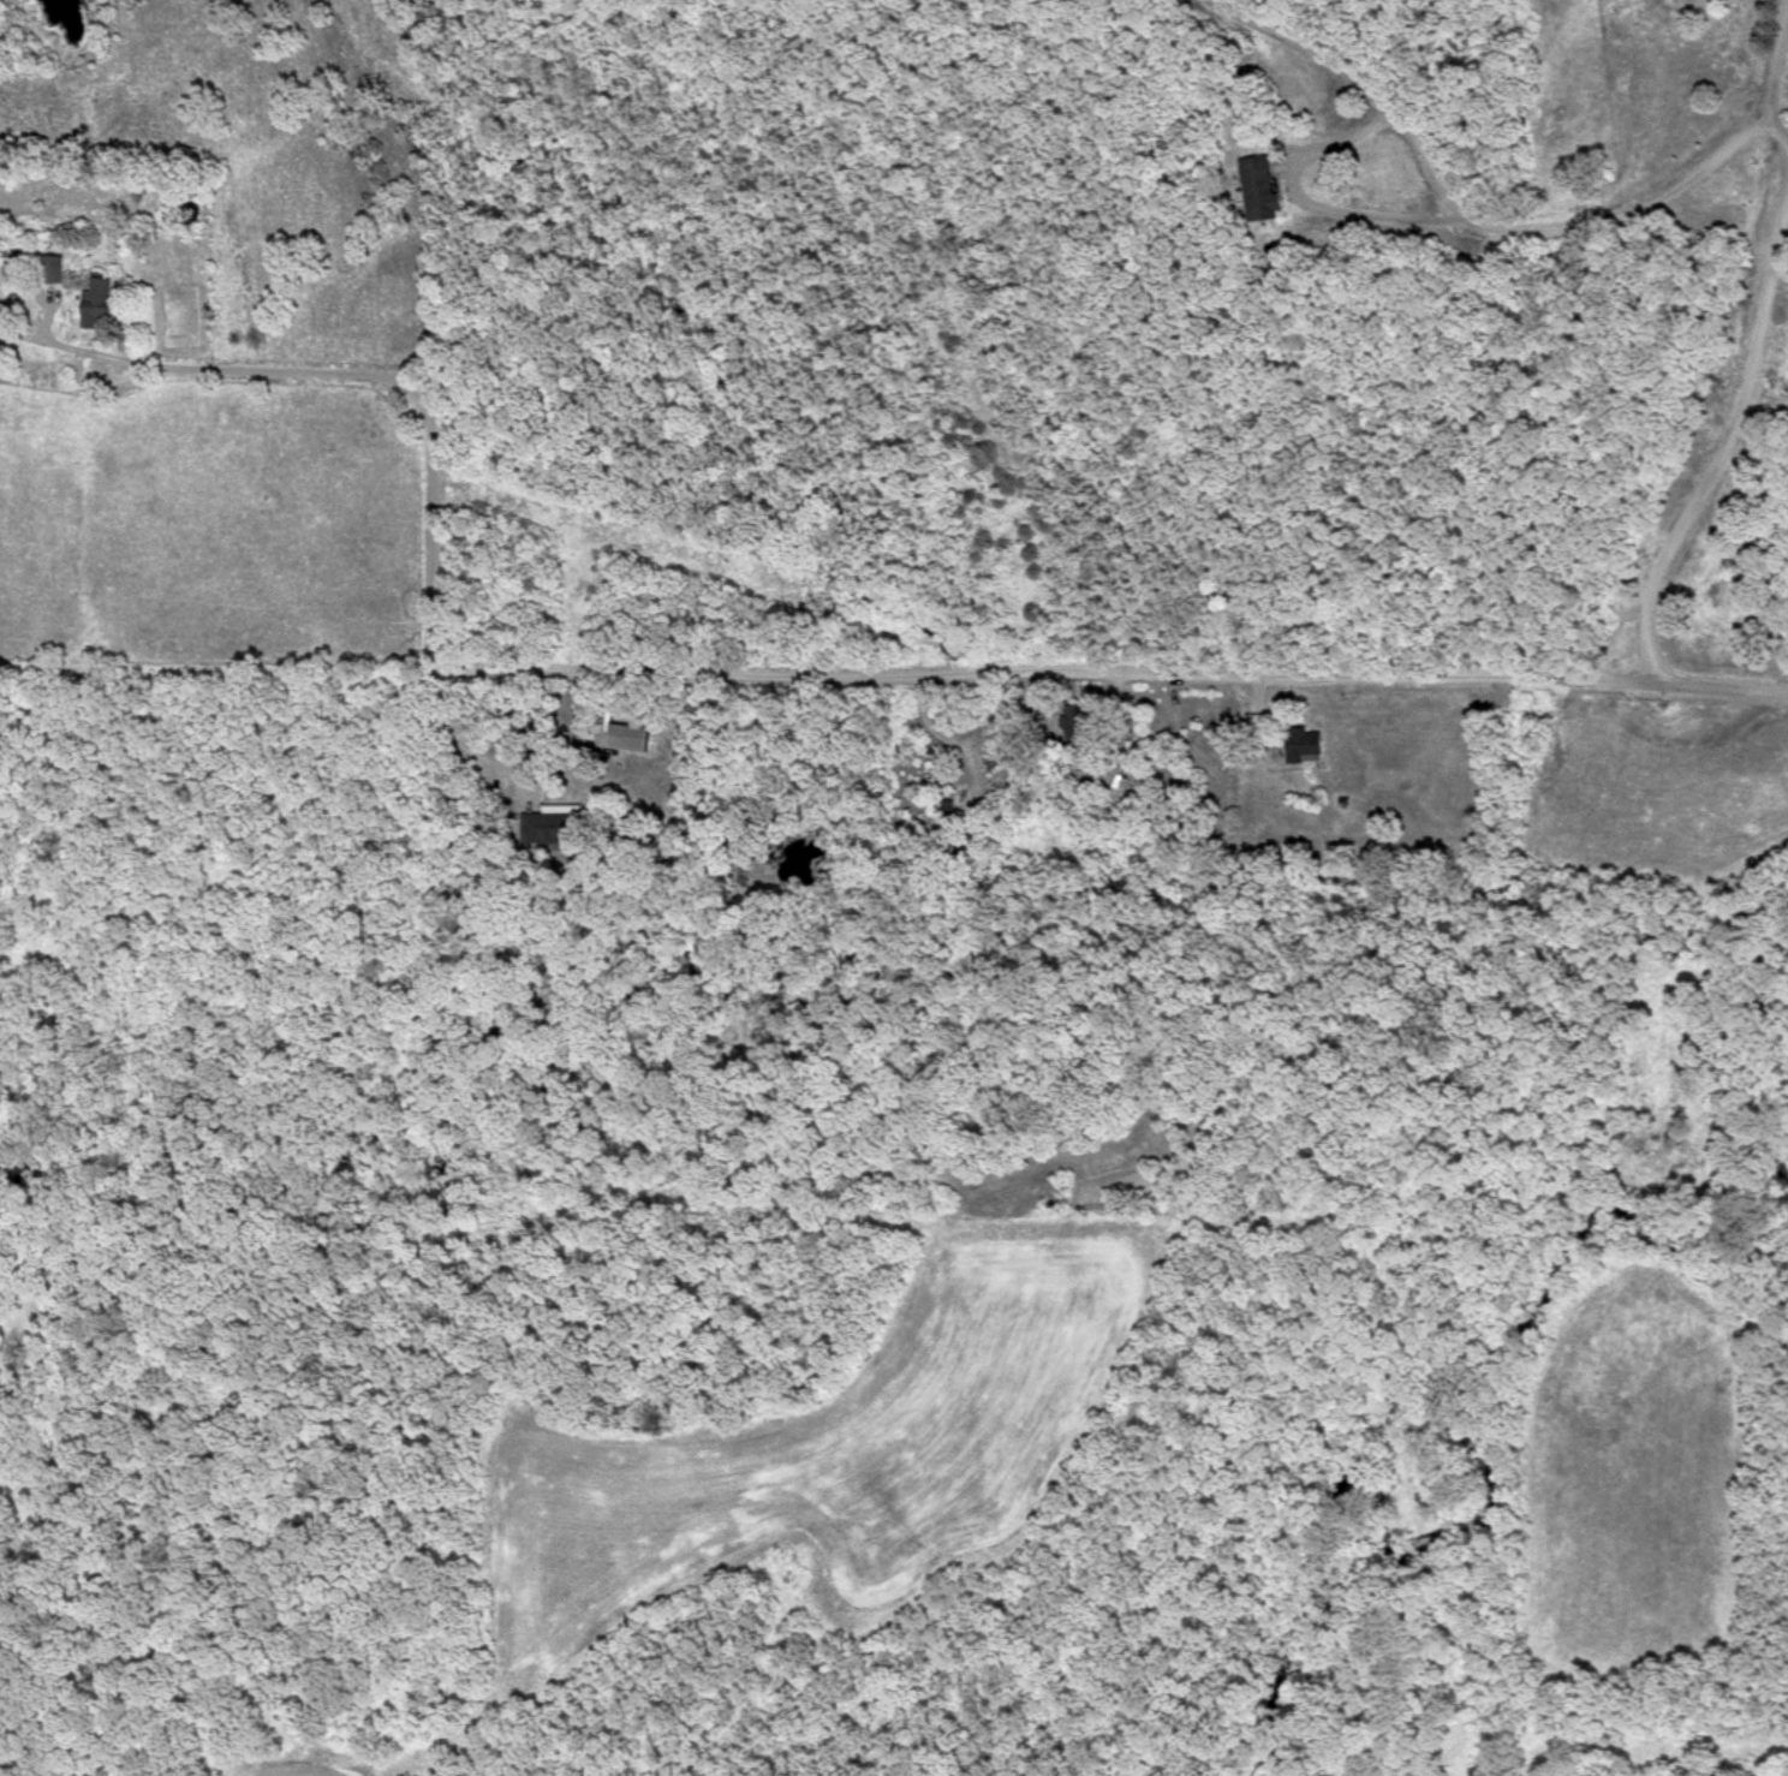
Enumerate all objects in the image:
road: (1772, 62)
road: (1315, 189)
building: (1257, 190)
road: (1479, 220)
building: (53, 272)
building: (96, 306)
road: (129, 382)
road: (416, 403)
road: (1717, 446)
road: (1116, 677)
building: (1078, 727)
building: (1256, 727)
road: (448, 733)
building: (628, 739)
building: (1304, 747)
building: (686, 789)
building: (544, 827)

